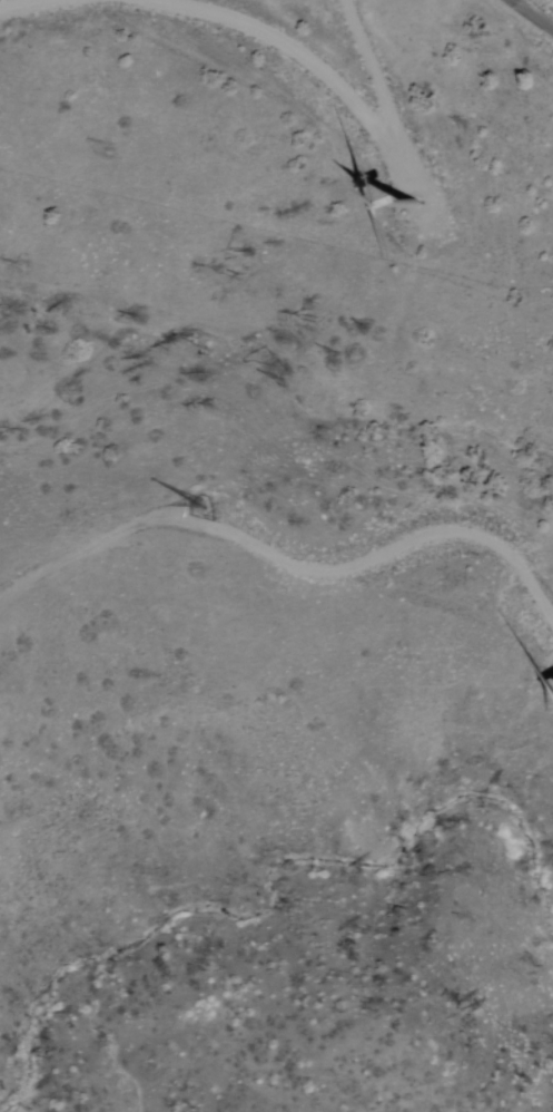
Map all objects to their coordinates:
road: (535, 13)
wind turbine: (422, 202)
road: (271, 545)

